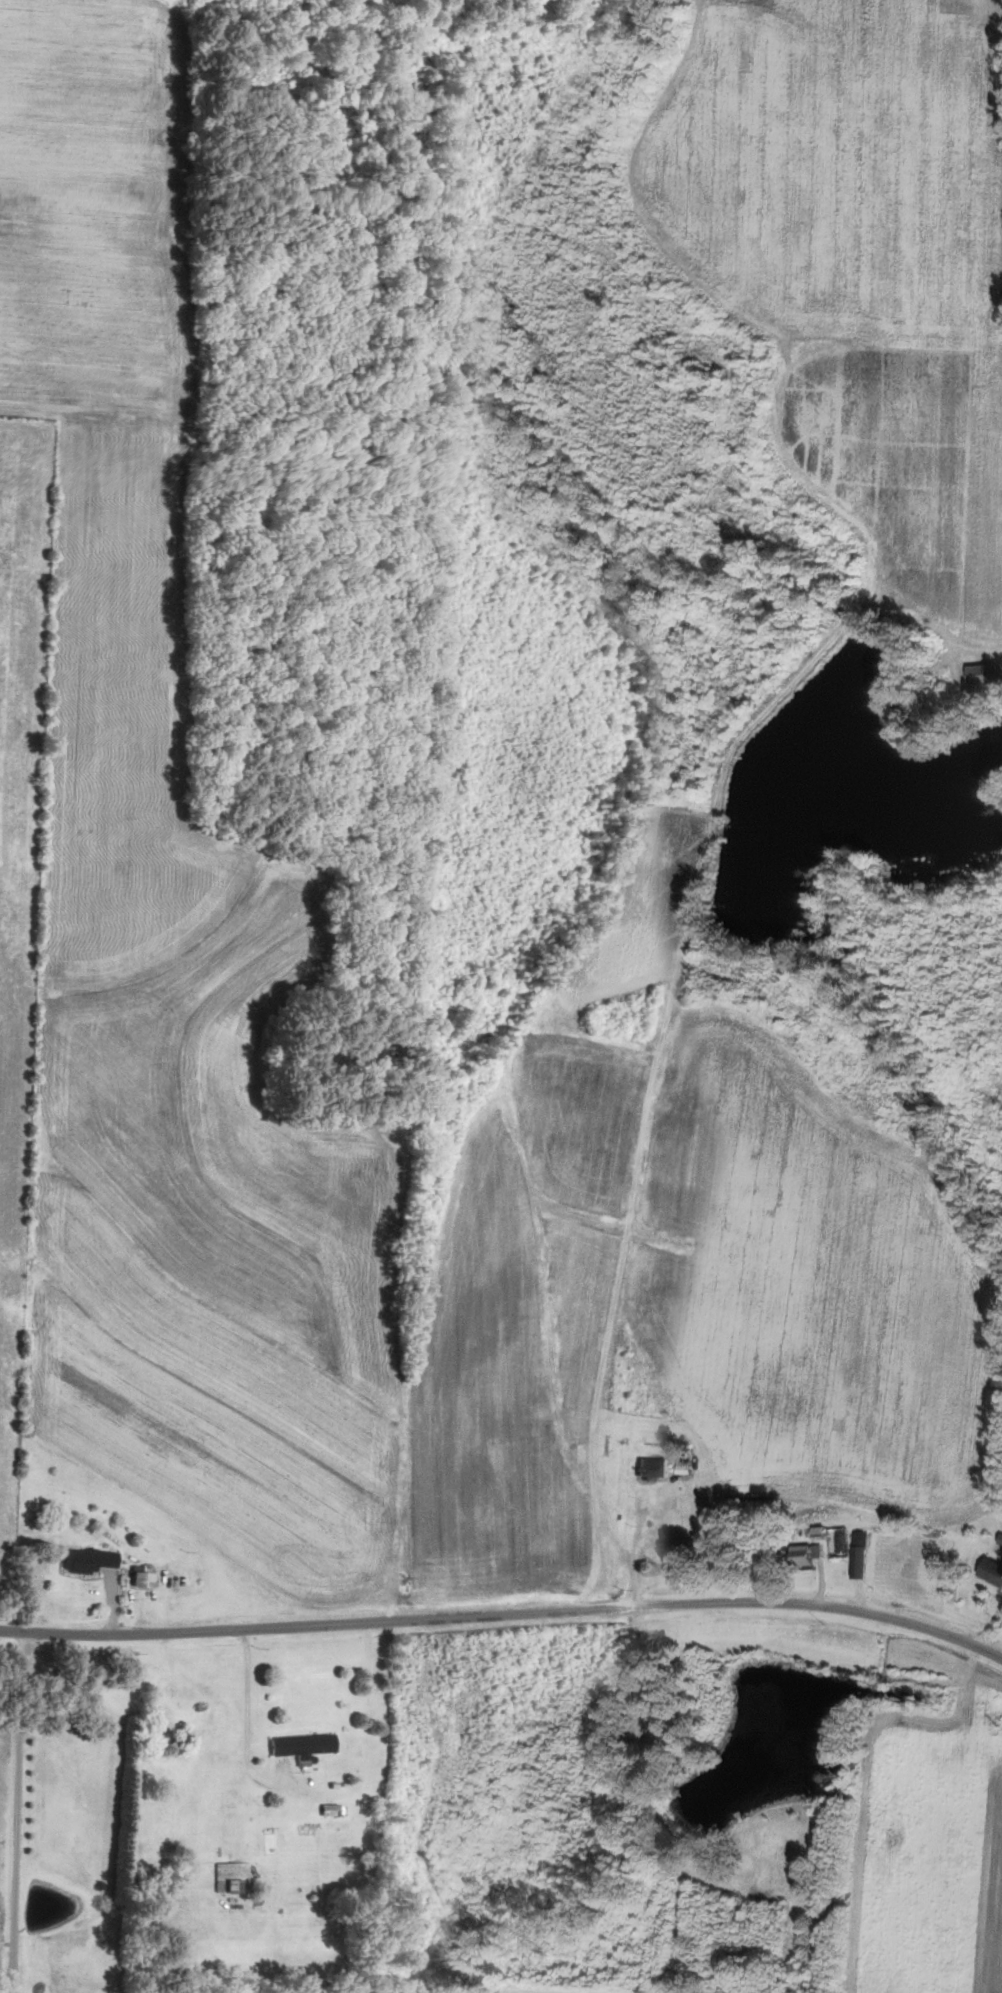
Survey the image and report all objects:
building: (984, 673)
building: (653, 1467)
road: (633, 1551)
building: (807, 1555)
building: (860, 1555)
building: (86, 1560)
building: (992, 1571)
building: (140, 1578)
road: (505, 1616)
road: (247, 1710)
building: (301, 1747)
road: (17, 1809)
building: (779, 1862)
building: (230, 1878)

